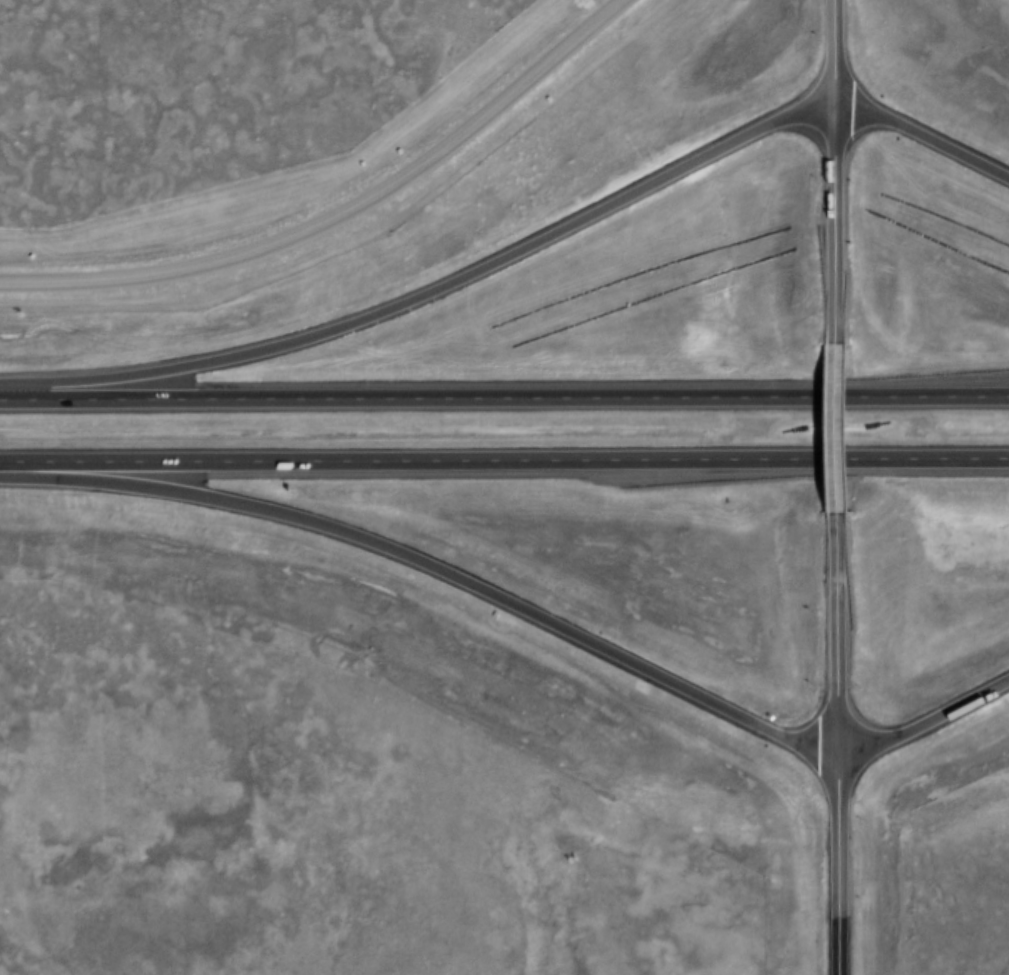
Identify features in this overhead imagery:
road: (832, 56)
road: (343, 215)
road: (835, 234)
road: (518, 259)
road: (504, 398)
road: (839, 438)
road: (504, 462)
road: (520, 616)
road: (836, 747)

